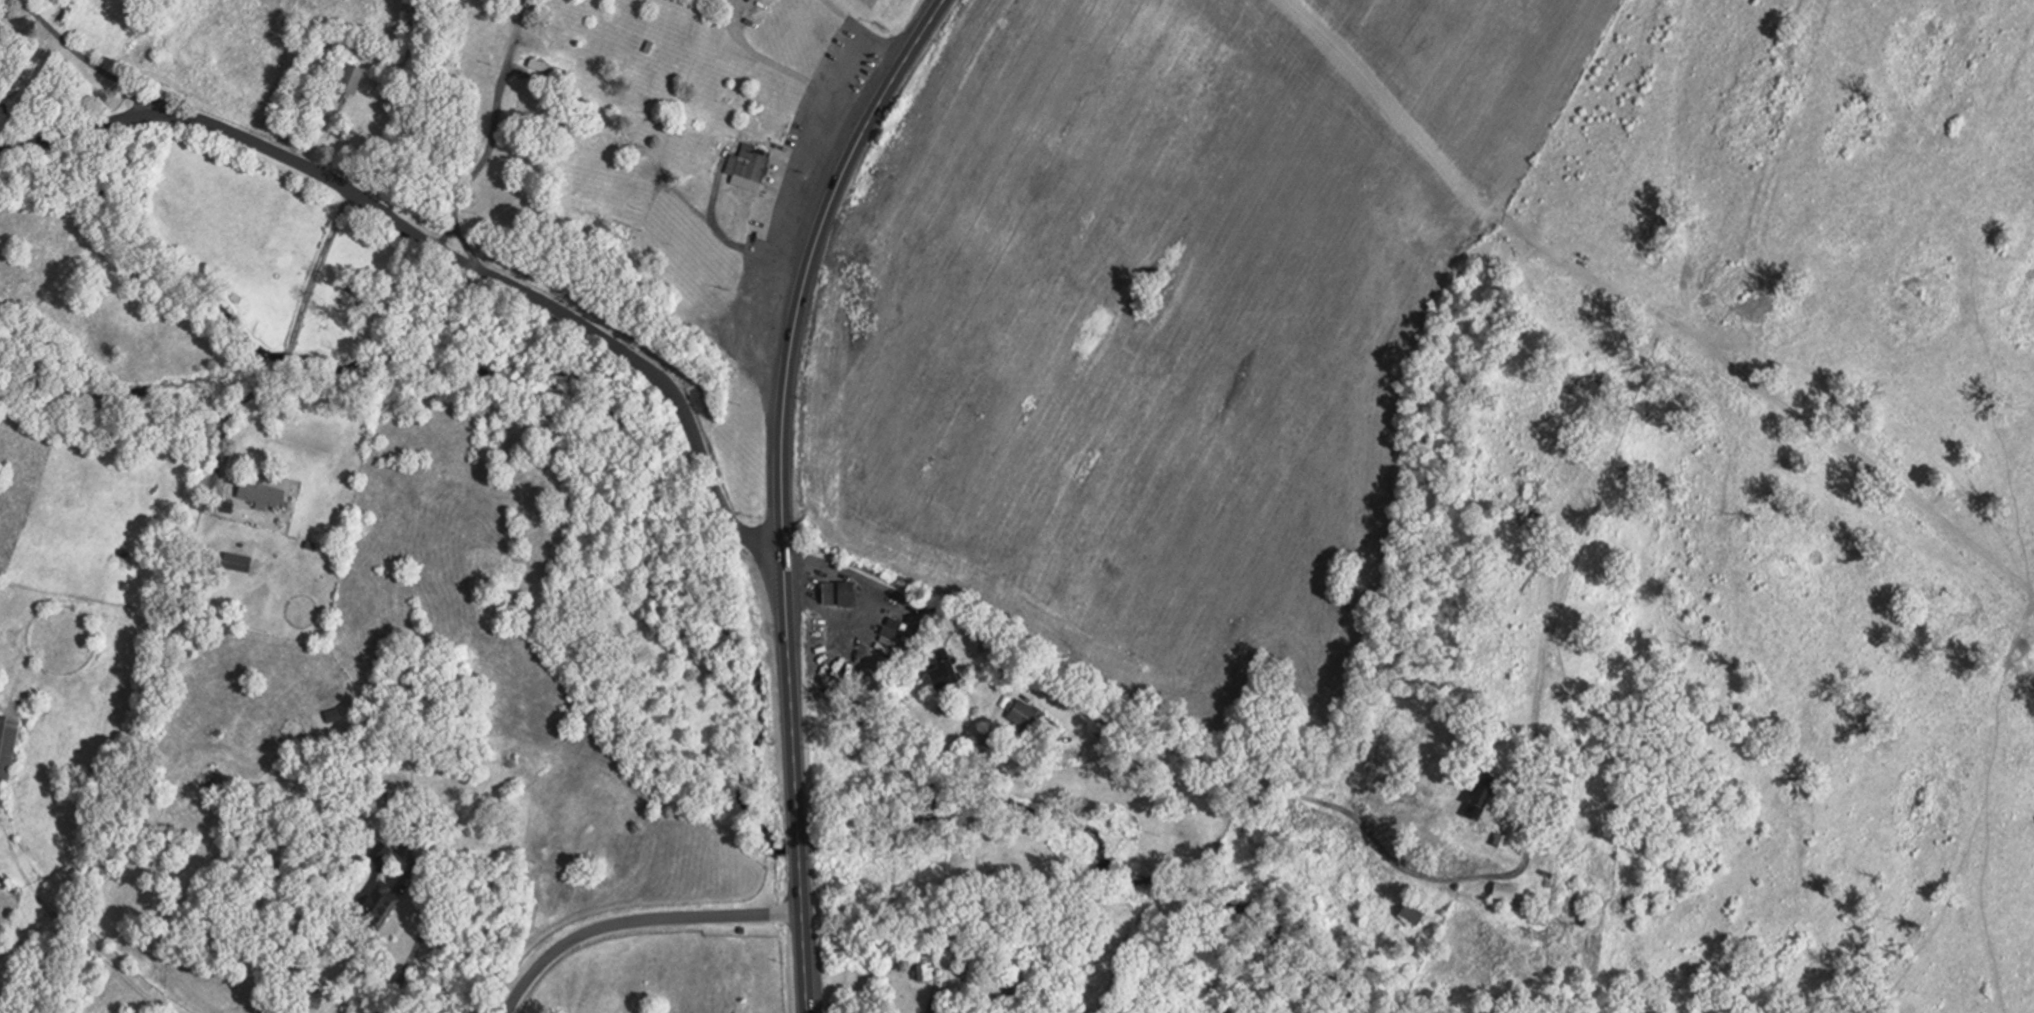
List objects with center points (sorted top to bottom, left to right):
building: (763, 8)
building: (564, 16)
road: (866, 30)
building: (560, 44)
road: (95, 64)
road: (786, 69)
building: (553, 71)
building: (358, 79)
building: (652, 120)
road: (495, 130)
building: (640, 147)
road: (1439, 157)
building: (753, 165)
road: (719, 183)
road: (662, 186)
building: (626, 187)
building: (610, 225)
road: (728, 237)
road: (439, 248)
road: (291, 349)
road: (783, 488)
building: (267, 493)
building: (242, 562)
building: (844, 592)
building: (950, 670)
building: (1037, 718)
building: (10, 745)
road: (1162, 747)
building: (1492, 791)
building: (1507, 839)
building: (383, 851)
building: (1510, 891)
building: (386, 904)
building: (1415, 917)
building: (1576, 917)
road: (61, 920)
road: (636, 922)
road: (420, 950)
building: (928, 967)
road: (935, 997)

